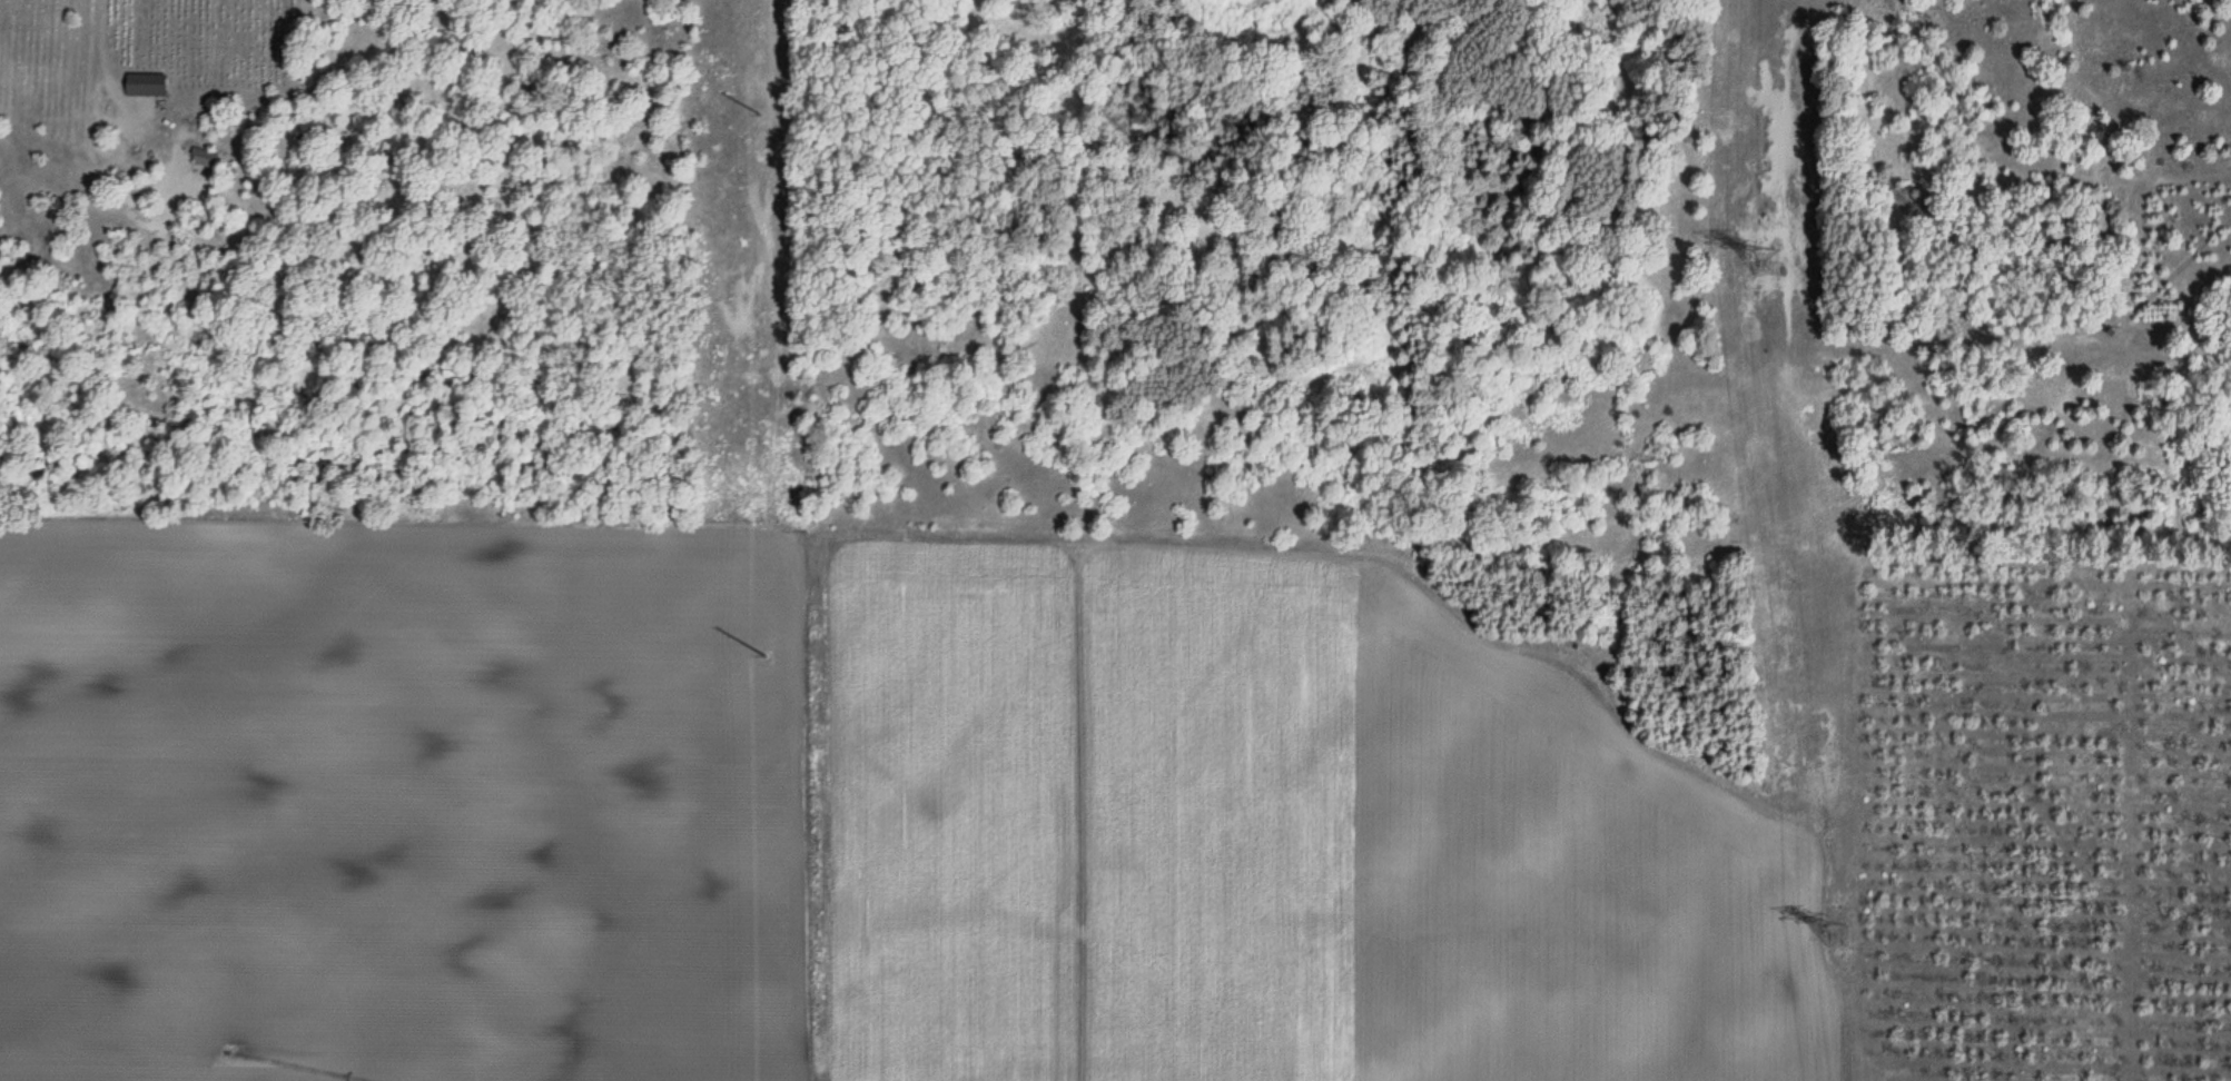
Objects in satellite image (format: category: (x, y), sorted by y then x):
power tower: (1768, 264)
power tower: (1839, 938)

